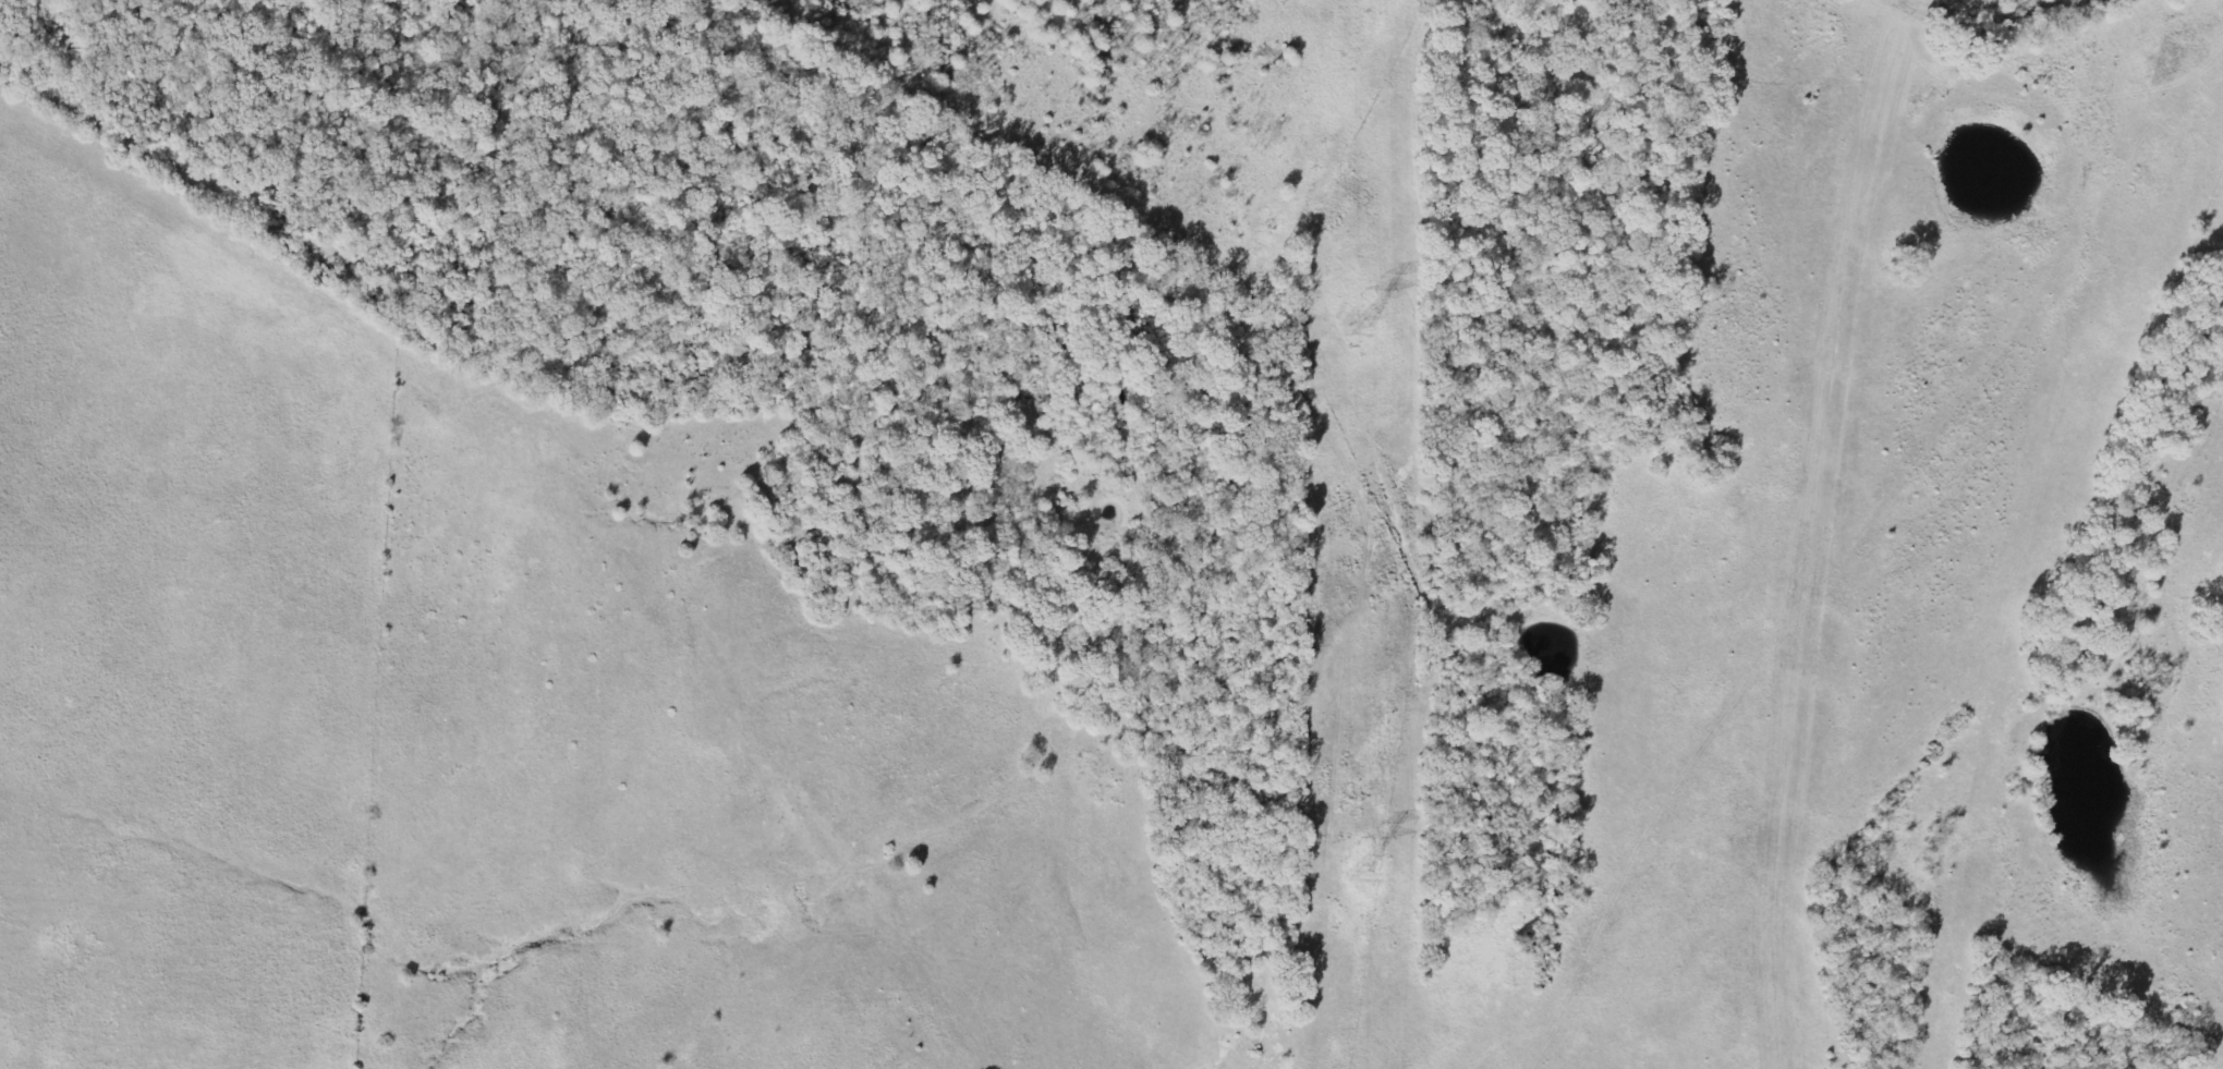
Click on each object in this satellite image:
power tower: (1360, 329)
power tower: (1359, 876)

